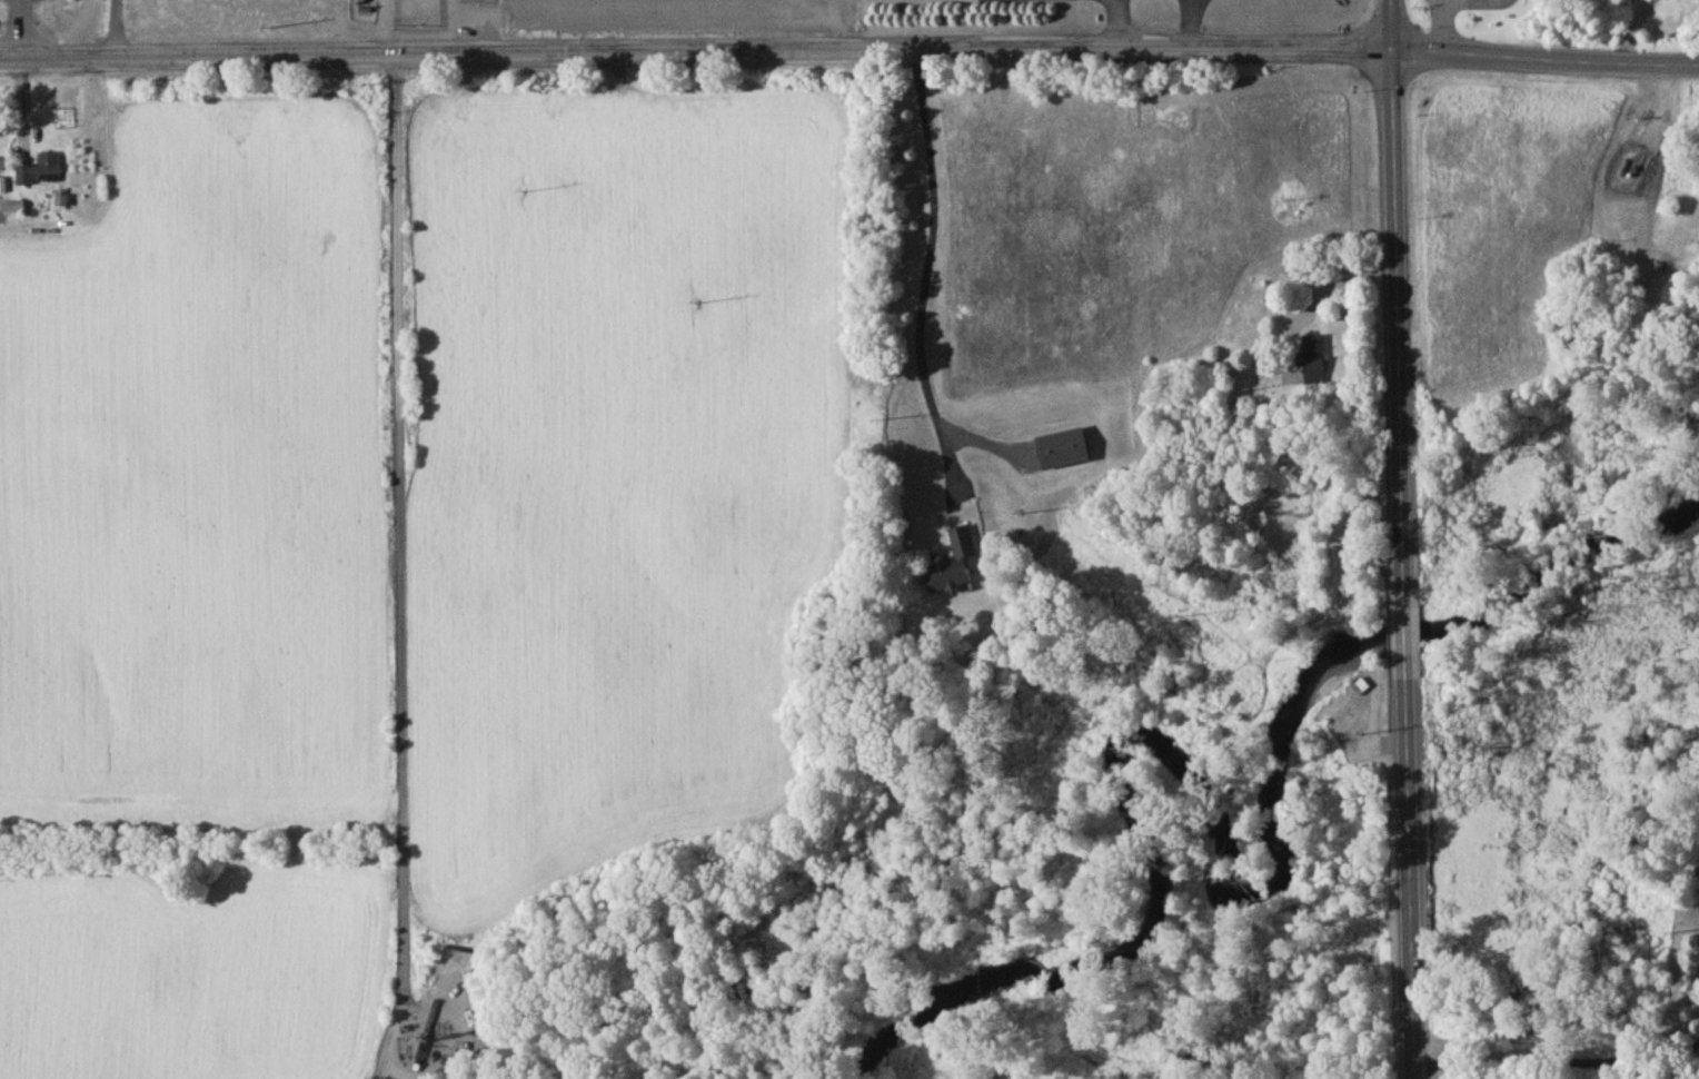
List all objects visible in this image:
park: (916, 11)
road: (1116, 24)
road: (1193, 24)
road: (1445, 27)
road: (21, 30)
road: (1635, 31)
road: (849, 50)
building: (40, 174)
road: (927, 275)
road: (1341, 285)
building: (1314, 363)
road: (1402, 539)
road: (403, 541)
building: (954, 567)
building: (1360, 689)
road: (1559, 1061)

